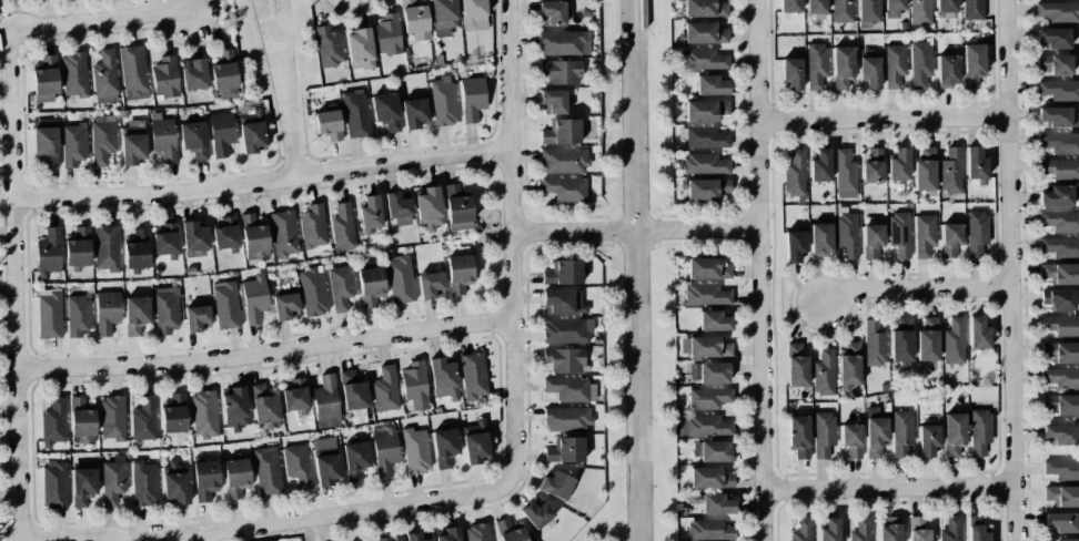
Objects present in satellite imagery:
building: (789, 6)
building: (946, 6)
building: (816, 7)
building: (705, 8)
building: (894, 9)
building: (841, 10)
building: (868, 10)
building: (920, 11)
building: (1058, 11)
building: (553, 13)
building: (473, 14)
building: (443, 17)
building: (415, 19)
road: (100, 20)
road: (279, 30)
road: (266, 31)
building: (703, 33)
building: (387, 34)
building: (1052, 38)
building: (564, 42)
building: (329, 47)
building: (360, 49)
building: (703, 59)
building: (920, 62)
building: (972, 63)
building: (1053, 63)
building: (816, 64)
building: (895, 64)
building: (843, 68)
building: (947, 68)
building: (869, 69)
building: (561, 71)
building: (133, 72)
building: (791, 73)
building: (74, 74)
building: (193, 74)
building: (224, 75)
building: (105, 76)
building: (164, 78)
building: (44, 80)
building: (710, 85)
building: (1059, 90)
building: (472, 98)
building: (443, 100)
building: (553, 102)
building: (705, 110)
building: (385, 111)
building: (355, 113)
building: (414, 113)
building: (1058, 116)
road: (881, 118)
road: (286, 119)
building: (327, 124)
building: (561, 132)
building: (221, 133)
building: (163, 136)
building: (704, 136)
building: (102, 139)
building: (193, 139)
building: (47, 142)
building: (132, 142)
building: (1059, 142)
building: (73, 144)
building: (563, 160)
building: (704, 164)
building: (873, 164)
building: (898, 164)
building: (976, 164)
building: (820, 165)
building: (1060, 169)
building: (925, 170)
building: (950, 171)
building: (794, 173)
building: (845, 174)
road: (259, 180)
building: (564, 188)
building: (706, 188)
building: (1056, 196)
building: (397, 208)
building: (428, 208)
building: (457, 208)
building: (370, 212)
building: (1060, 221)
building: (312, 226)
building: (343, 227)
road: (695, 228)
road: (568, 232)
building: (976, 232)
building: (225, 233)
building: (847, 233)
building: (283, 234)
building: (899, 234)
building: (924, 235)
building: (253, 236)
building: (820, 238)
building: (950, 238)
building: (165, 239)
building: (194, 239)
building: (871, 239)
road: (506, 242)
building: (795, 246)
building: (78, 247)
building: (1060, 247)
building: (105, 248)
building: (137, 249)
building: (48, 253)
building: (707, 268)
road: (632, 270)
road: (759, 270)
road: (1007, 270)
building: (563, 273)
building: (1060, 273)
building: (458, 275)
building: (400, 278)
road: (13, 285)
building: (371, 285)
building: (430, 285)
building: (341, 286)
road: (914, 287)
building: (313, 292)
building: (706, 295)
building: (254, 298)
building: (1058, 299)
building: (563, 300)
building: (225, 305)
building: (285, 306)
building: (167, 309)
building: (107, 312)
building: (49, 314)
building: (137, 315)
building: (78, 316)
building: (196, 318)
building: (714, 320)
building: (1061, 325)
building: (566, 330)
building: (978, 333)
building: (901, 340)
building: (928, 340)
building: (954, 341)
building: (874, 344)
building: (708, 347)
building: (1061, 351)
road: (262, 353)
building: (565, 359)
building: (849, 364)
building: (796, 366)
building: (710, 371)
building: (824, 372)
building: (473, 375)
building: (1061, 377)
building: (443, 378)
building: (414, 385)
building: (567, 388)
building: (385, 389)
building: (353, 392)
building: (295, 395)
building: (708, 398)
building: (326, 402)
building: (1061, 404)
building: (263, 405)
building: (235, 408)
building: (203, 412)
building: (173, 414)
building: (112, 417)
building: (81, 418)
building: (566, 418)
building: (143, 419)
building: (52, 422)
building: (708, 426)
building: (979, 431)
building: (875, 432)
building: (823, 433)
building: (901, 433)
building: (954, 433)
building: (1059, 433)
building: (799, 436)
building: (928, 439)
building: (851, 440)
building: (474, 442)
building: (444, 447)
building: (415, 450)
building: (565, 450)
building: (712, 450)
building: (384, 451)
building: (325, 460)
building: (355, 460)
building: (298, 465)
building: (1061, 469)
building: (266, 470)
building: (235, 478)
building: (710, 478)
building: (205, 479)
building: (113, 480)
building: (175, 481)
building: (54, 483)
building: (143, 483)
building: (556, 484)
building: (83, 486)
road: (888, 487)
building: (1062, 496)
building: (716, 503)
building: (536, 513)
building: (1060, 521)
road: (262, 522)
building: (861, 529)
building: (890, 529)
building: (917, 529)
building: (951, 529)
building: (976, 529)
building: (709, 530)
building: (801, 530)
building: (829, 530)
building: (508, 531)
building: (476, 532)
building: (450, 534)
road: (193, 537)
building: (419, 537)
building: (390, 539)
building: (1066, 539)
building: (366, 540)

